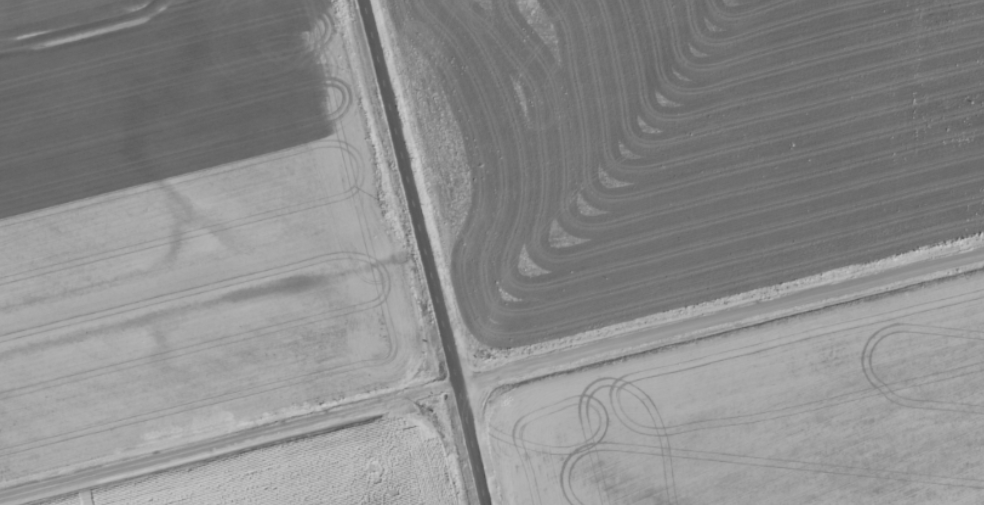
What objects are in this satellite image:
road: (428, 252)
road: (491, 372)

